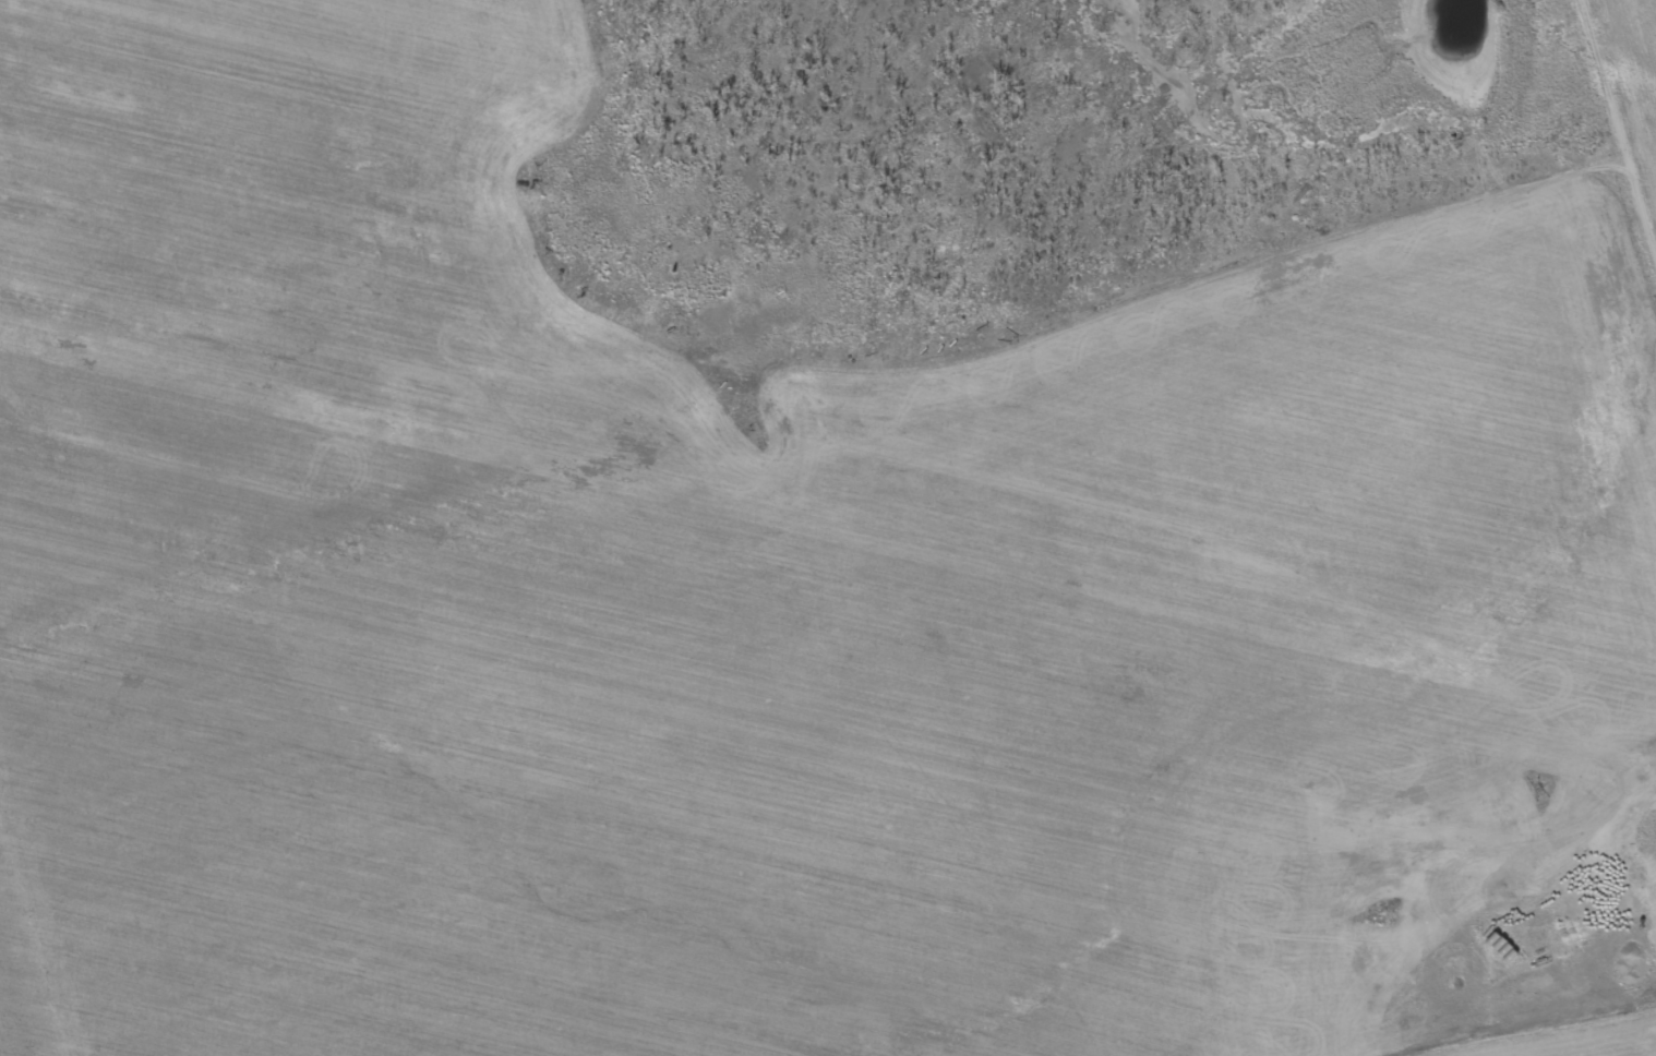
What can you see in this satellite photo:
road: (1645, 197)

